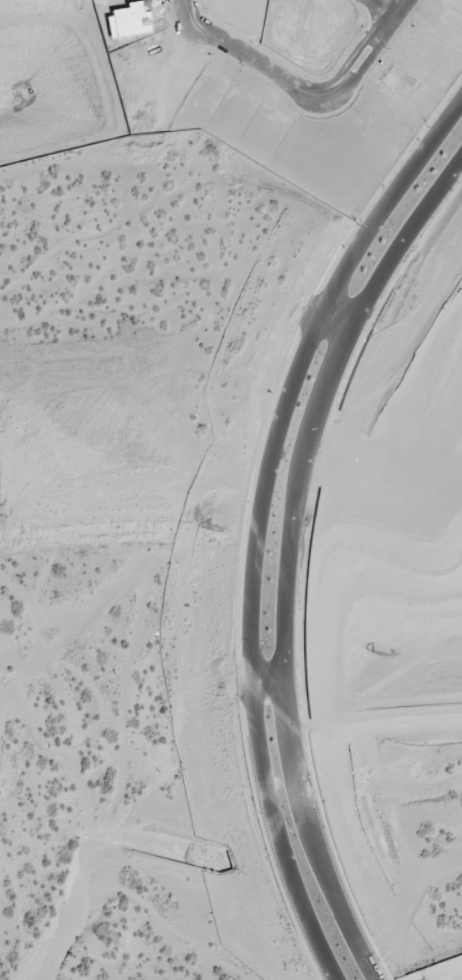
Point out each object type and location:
road: (391, 5)
road: (183, 10)
road: (308, 98)
road: (332, 328)
road: (255, 522)
road: (284, 555)
road: (265, 686)

